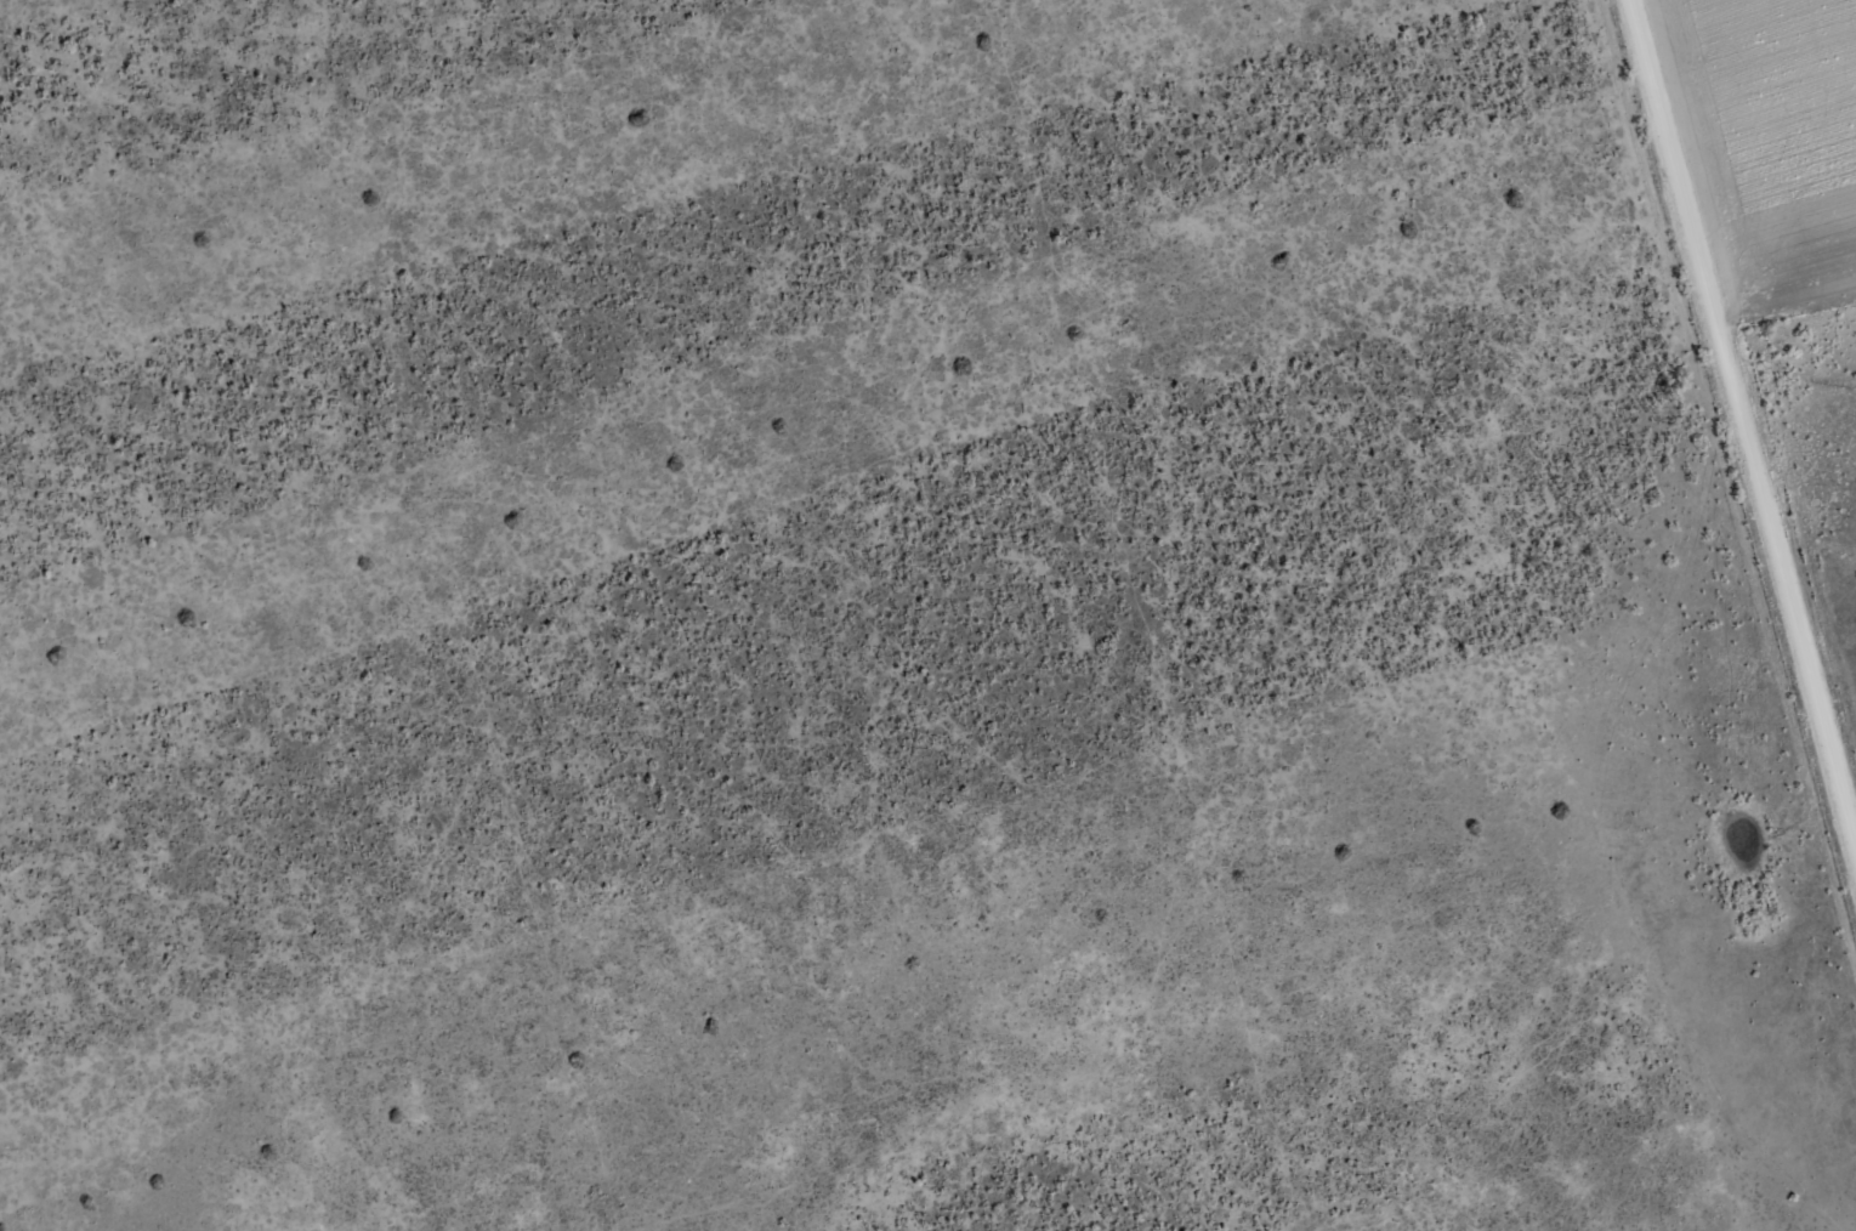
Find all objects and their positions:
road: (1781, 339)
road: (1726, 477)

